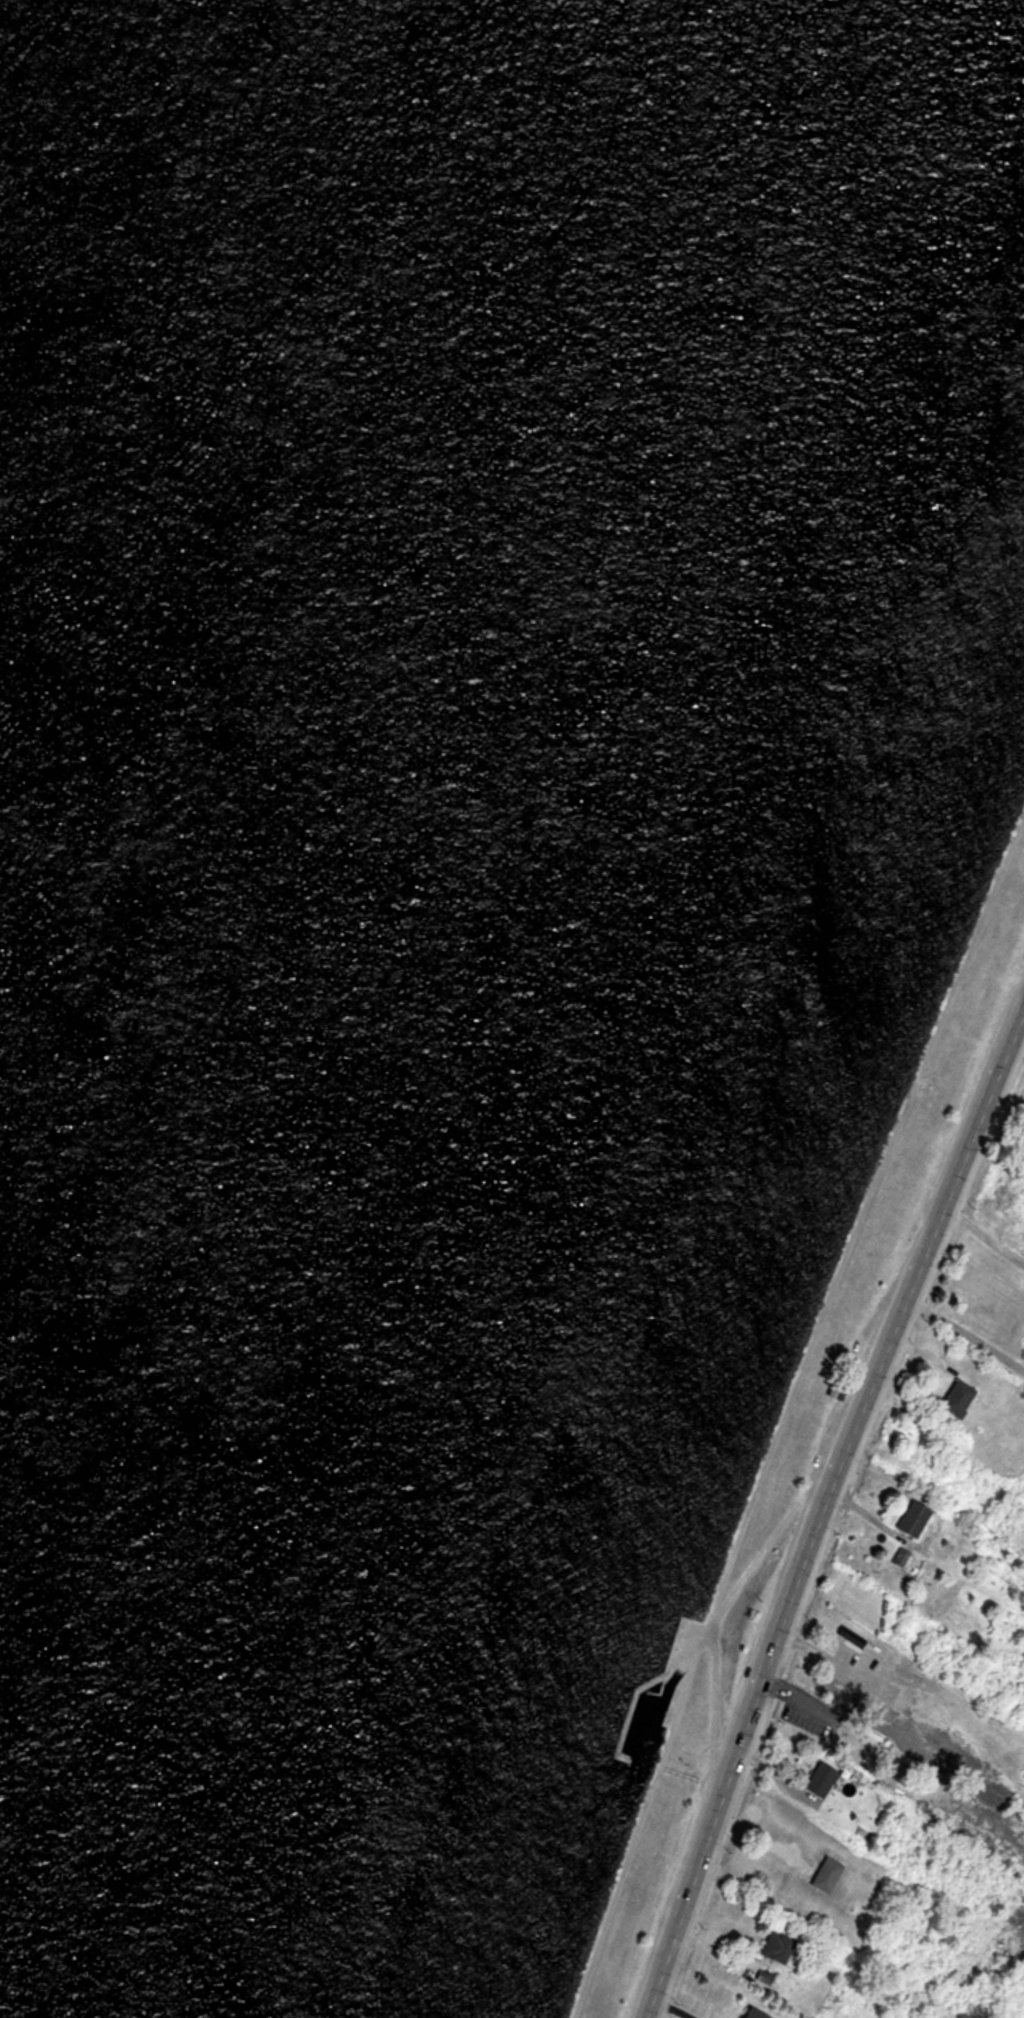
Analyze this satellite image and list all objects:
river: (210, 569)
road: (823, 1512)

